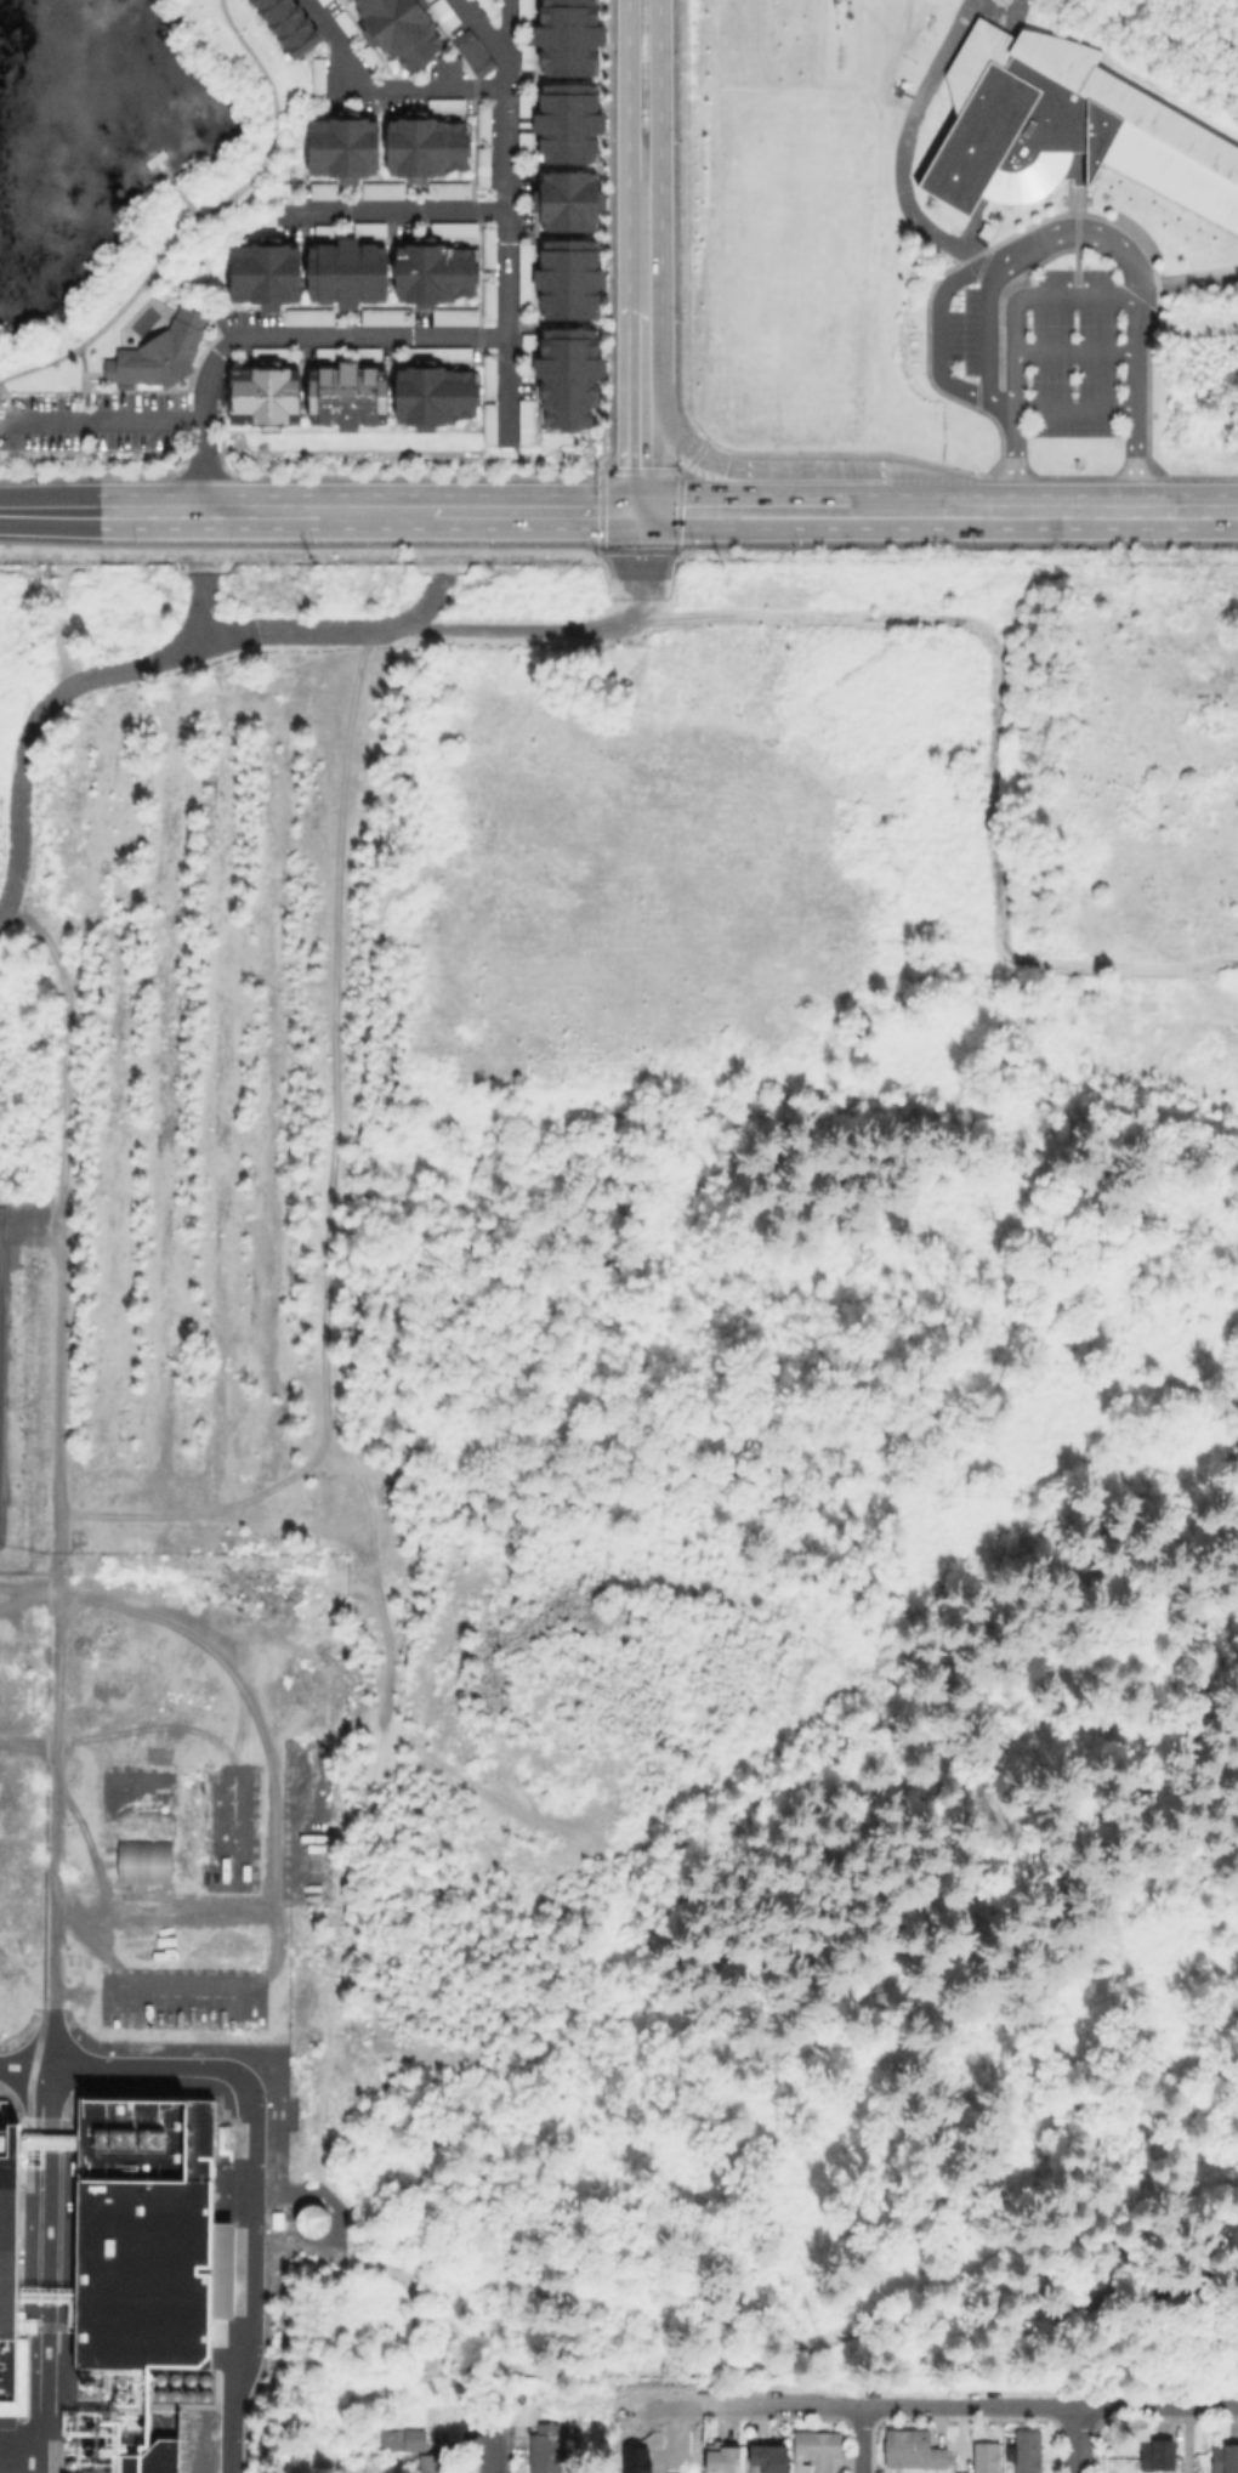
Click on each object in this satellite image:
building: (320, 1)
building: (326, 1)
building: (490, 6)
building: (445, 13)
building: (527, 15)
building: (289, 25)
building: (348, 25)
road: (506, 27)
building: (403, 28)
building: (574, 36)
building: (472, 50)
building: (528, 53)
building: (371, 57)
building: (445, 68)
building: (320, 79)
road: (380, 87)
building: (447, 104)
road: (340, 115)
building: (485, 123)
building: (572, 124)
building: (526, 127)
building: (1066, 132)
building: (345, 144)
building: (427, 146)
road: (626, 151)
park: (127, 164)
building: (484, 168)
road: (293, 183)
building: (448, 191)
building: (328, 192)
building: (387, 192)
building: (572, 202)
road: (396, 211)
road: (506, 215)
road: (199, 217)
building: (456, 231)
building: (330, 232)
building: (371, 232)
road: (1034, 248)
building: (490, 249)
road: (659, 257)
park: (793, 272)
building: (350, 273)
building: (438, 273)
building: (266, 274)
building: (563, 278)
road: (1187, 279)
building: (490, 299)
road: (193, 300)
road: (1017, 307)
building: (311, 317)
building: (456, 317)
building: (387, 318)
road: (990, 331)
road: (278, 336)
building: (529, 348)
building: (161, 352)
road: (1077, 352)
building: (330, 354)
building: (370, 354)
building: (439, 354)
building: (570, 378)
building: (492, 379)
building: (437, 396)
building: (267, 397)
building: (348, 397)
road: (1077, 407)
road: (626, 408)
road: (101, 422)
building: (528, 422)
building: (492, 424)
road: (688, 463)
road: (799, 470)
road: (674, 471)
road: (49, 511)
road: (797, 511)
road: (1096, 511)
road: (369, 512)
traffic signals: (642, 512)
road: (459, 623)
road: (51, 701)
power substation: (1, 1348)
road: (221, 1658)
road: (55, 1679)
building: (146, 1861)
road: (51, 1888)
road: (251, 2152)
building: (309, 2220)
building: (151, 2237)
building: (11, 2286)
road: (969, 2405)
road: (858, 2439)
road: (1073, 2439)
building: (405, 2440)
road: (490, 2448)
building: (817, 2449)
building: (914, 2449)
building: (1028, 2451)
building: (547, 2452)
building: (1160, 2455)
building: (722, 2458)
building: (988, 2458)
building: (155, 2460)
building: (770, 2460)
building: (1227, 2460)
building: (433, 2462)
building: (954, 2472)

